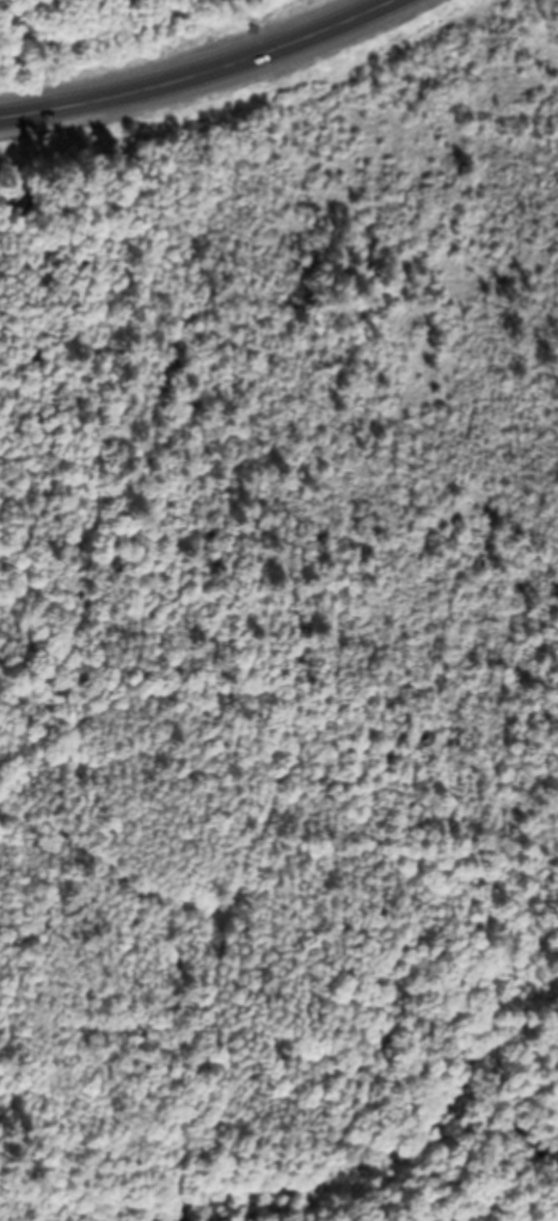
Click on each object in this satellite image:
road: (195, 78)

